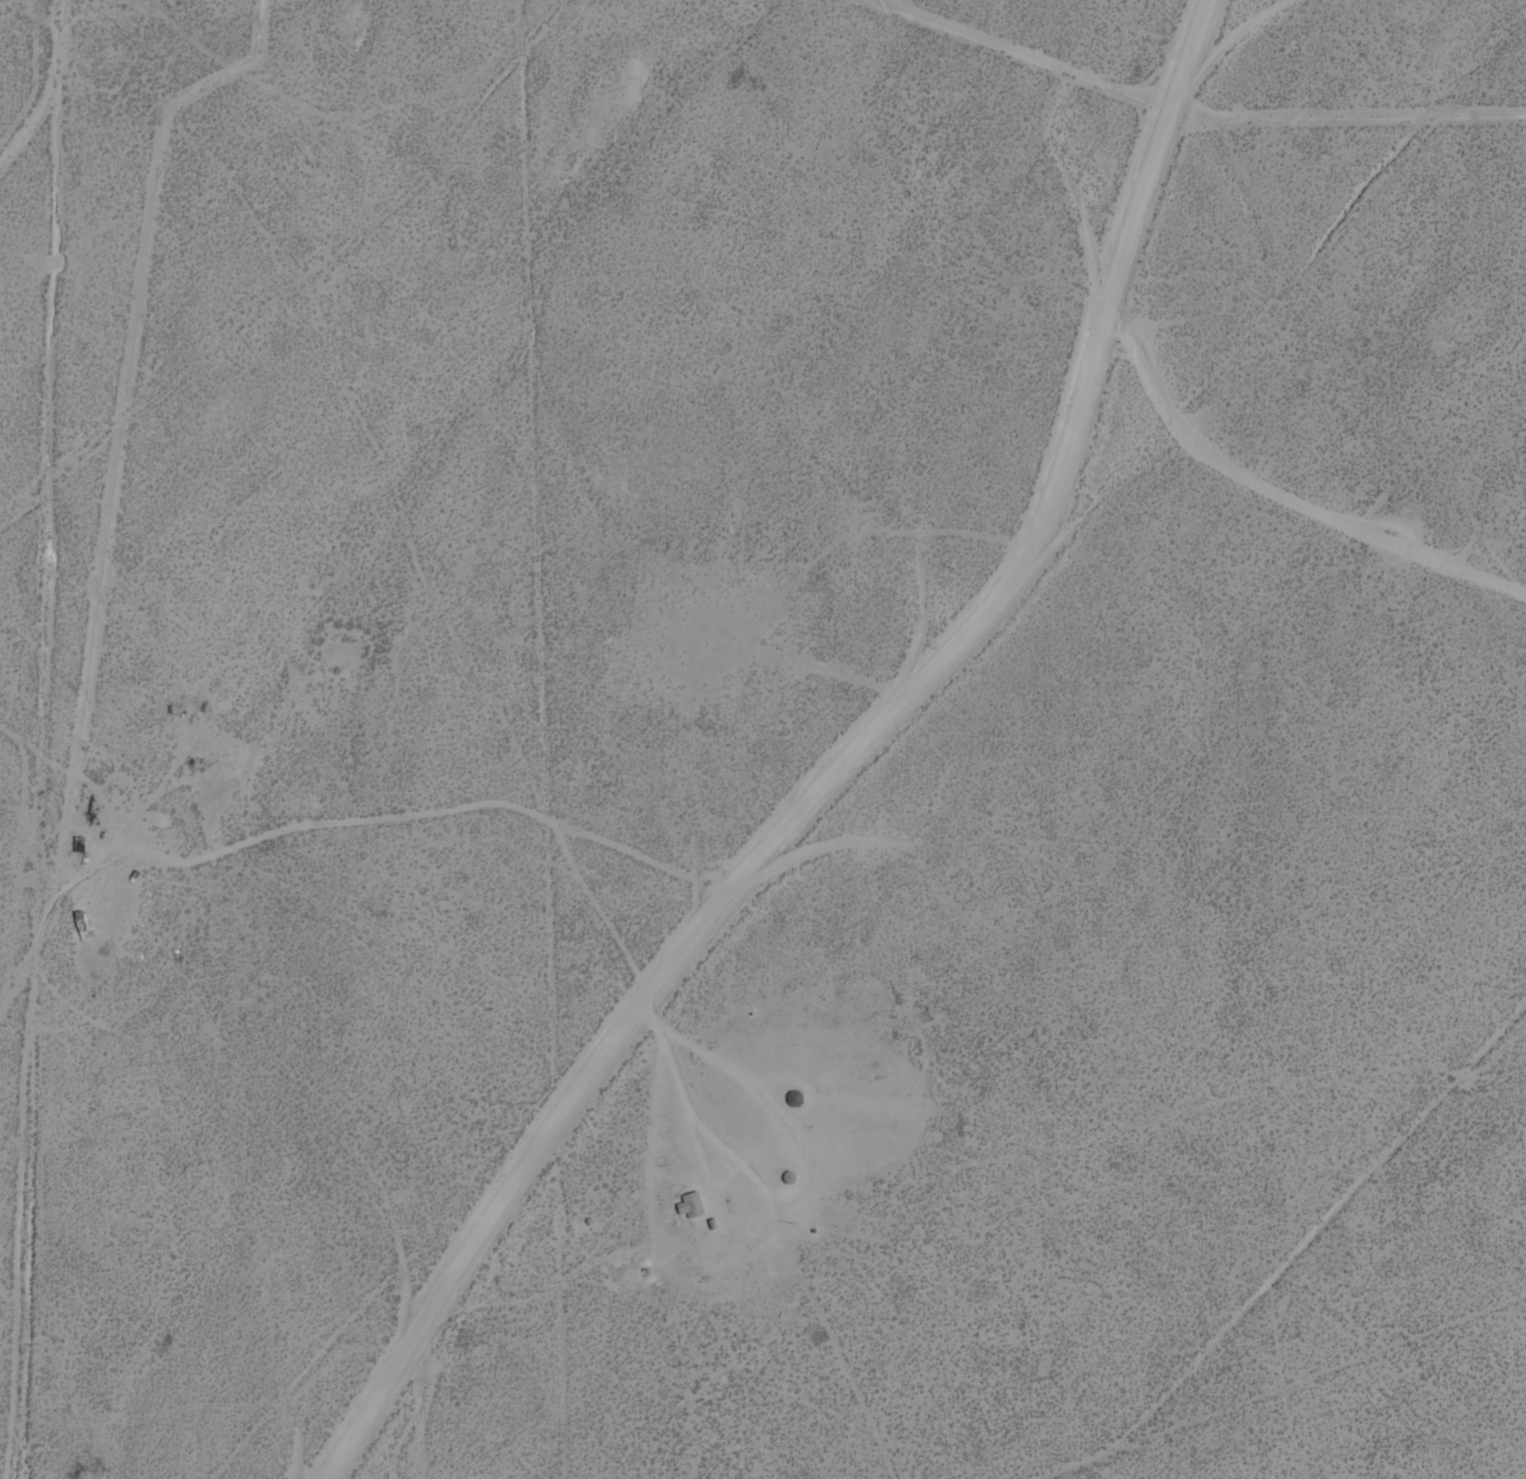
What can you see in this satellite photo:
road: (841, 770)
building: (791, 1098)
building: (686, 1203)
road: (7, 1348)

